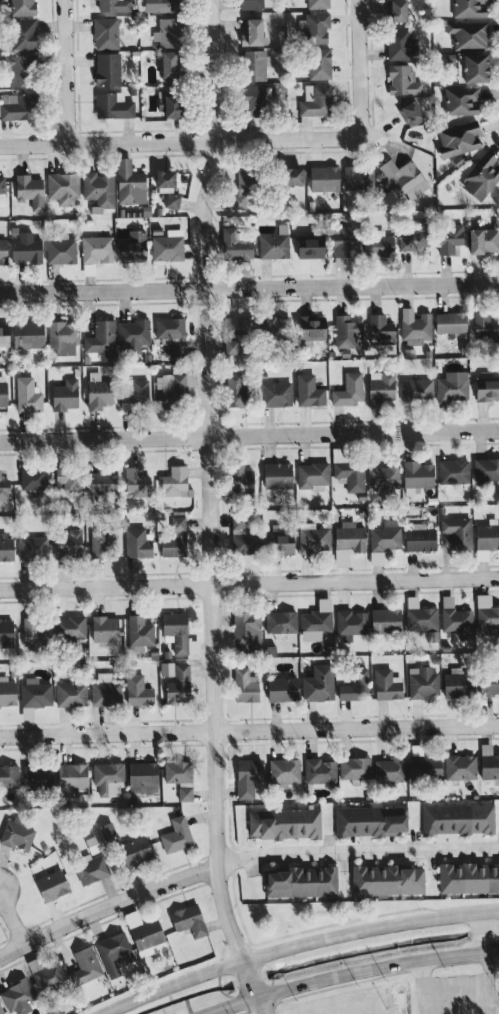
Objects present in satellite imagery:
building: (251, 4)
building: (318, 4)
building: (114, 5)
building: (166, 6)
building: (21, 7)
building: (469, 8)
building: (396, 10)
building: (316, 27)
building: (254, 31)
building: (168, 32)
building: (105, 33)
building: (468, 34)
building: (23, 35)
building: (401, 43)
building: (319, 63)
building: (254, 64)
building: (169, 65)
building: (108, 68)
building: (472, 68)
road: (357, 69)
building: (21, 70)
road: (63, 72)
building: (402, 80)
building: (316, 100)
building: (461, 100)
building: (254, 101)
building: (171, 105)
building: (113, 106)
building: (20, 108)
building: (411, 113)
building: (458, 138)
road: (189, 141)
building: (292, 176)
building: (358, 177)
building: (481, 177)
building: (324, 178)
building: (404, 178)
building: (165, 179)
building: (130, 183)
building: (243, 187)
building: (63, 188)
building: (2, 190)
building: (98, 190)
building: (30, 191)
building: (172, 201)
building: (412, 234)
building: (449, 238)
building: (484, 240)
building: (234, 242)
building: (380, 243)
building: (274, 244)
building: (168, 246)
building: (135, 247)
building: (310, 247)
building: (26, 248)
building: (97, 249)
building: (61, 250)
building: (3, 251)
road: (249, 286)
building: (451, 322)
building: (415, 325)
building: (237, 326)
building: (485, 326)
building: (312, 327)
building: (275, 328)
building: (381, 330)
building: (346, 331)
building: (171, 333)
building: (4, 334)
building: (28, 334)
building: (63, 337)
building: (102, 340)
building: (232, 346)
building: (175, 385)
building: (452, 386)
building: (381, 387)
building: (349, 389)
building: (486, 389)
building: (3, 391)
building: (236, 391)
building: (309, 391)
building: (417, 391)
building: (99, 393)
building: (276, 394)
building: (65, 395)
building: (136, 395)
building: (28, 396)
road: (249, 433)
building: (453, 471)
building: (487, 471)
building: (278, 474)
building: (313, 475)
building: (350, 475)
building: (384, 476)
building: (417, 476)
building: (69, 478)
building: (33, 479)
building: (241, 480)
building: (102, 481)
building: (175, 481)
building: (136, 482)
building: (4, 489)
road: (209, 510)
building: (457, 531)
building: (243, 537)
building: (420, 537)
building: (313, 538)
building: (175, 539)
building: (383, 539)
building: (348, 541)
building: (101, 542)
building: (138, 542)
building: (68, 543)
building: (280, 543)
building: (6, 547)
building: (32, 548)
road: (249, 583)
building: (486, 613)
building: (420, 617)
building: (385, 620)
building: (281, 621)
building: (351, 622)
building: (458, 622)
building: (315, 624)
building: (70, 627)
building: (105, 631)
building: (139, 631)
building: (247, 631)
building: (35, 632)
building: (176, 632)
building: (6, 633)
building: (498, 671)
building: (423, 682)
building: (319, 683)
building: (387, 684)
building: (245, 685)
building: (491, 685)
building: (355, 686)
building: (282, 689)
building: (106, 690)
building: (138, 690)
building: (7, 692)
building: (71, 694)
building: (34, 695)
road: (249, 728)
building: (425, 766)
building: (490, 766)
building: (460, 767)
building: (355, 768)
building: (390, 769)
building: (284, 770)
building: (319, 771)
building: (178, 772)
building: (142, 773)
building: (9, 776)
building: (38, 777)
building: (107, 777)
building: (247, 777)
building: (141, 788)
building: (185, 793)
building: (458, 818)
building: (370, 820)
building: (284, 823)
building: (108, 830)
building: (17, 833)
building: (176, 835)
road: (356, 849)
building: (135, 851)
building: (92, 870)
building: (468, 878)
building: (387, 880)
building: (302, 882)
building: (52, 885)
road: (107, 908)
road: (11, 920)
building: (188, 920)
road: (483, 931)
building: (147, 936)
road: (295, 943)
building: (114, 953)
building: (85, 966)
road: (349, 971)
building: (47, 976)
road: (363, 978)
road: (488, 983)
building: (17, 996)
building: (1, 1010)

